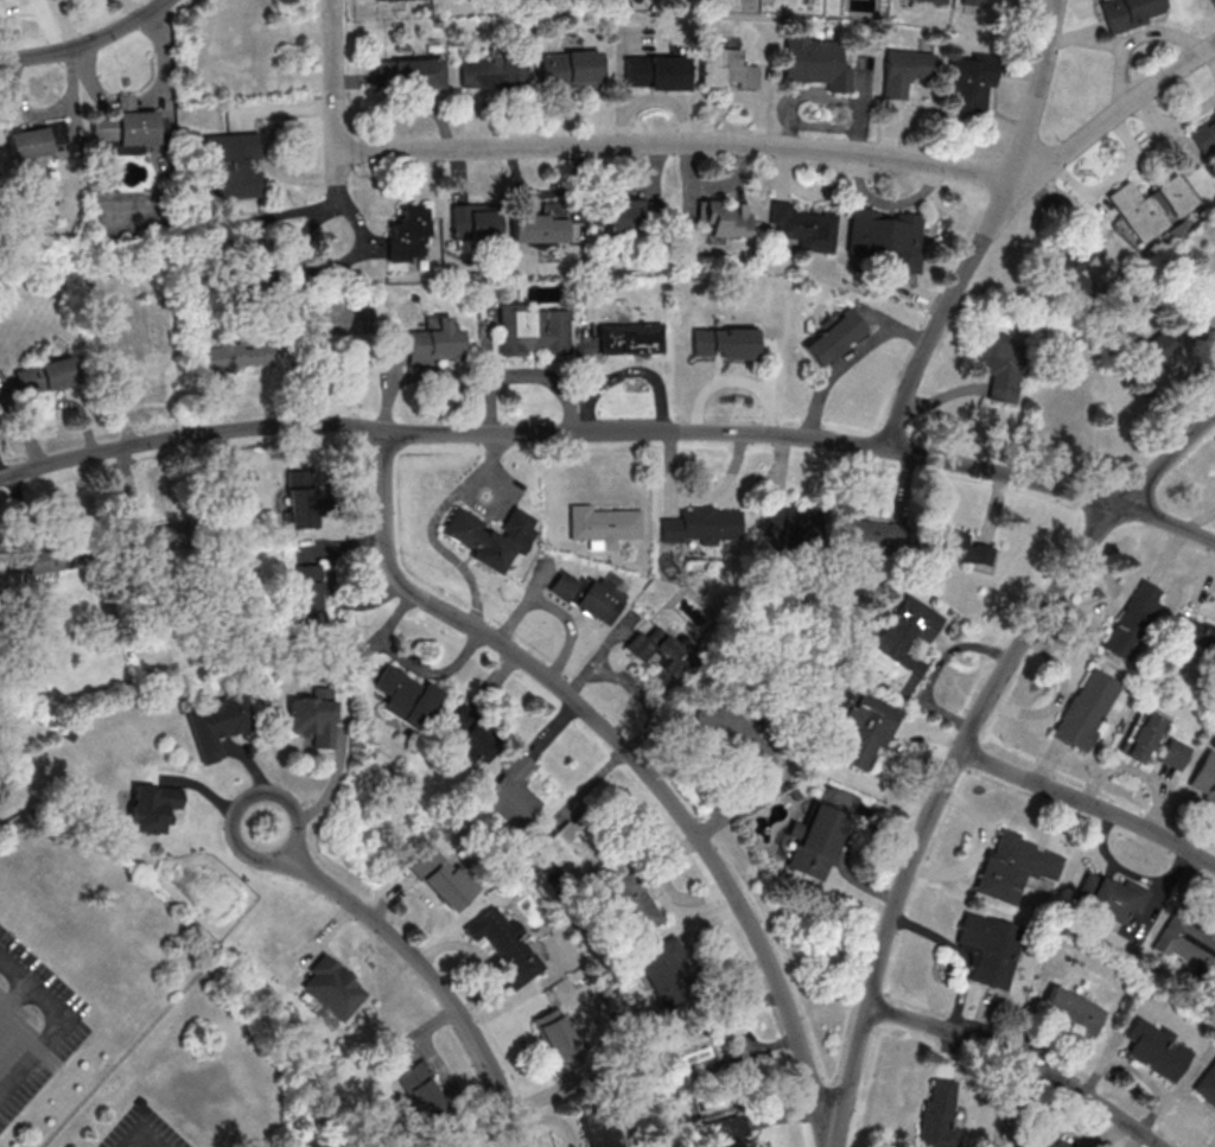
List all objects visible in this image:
building: (400, 0)
building: (1011, 0)
building: (935, 1)
building: (972, 2)
building: (1130, 12)
road: (88, 43)
building: (816, 63)
building: (726, 68)
building: (571, 69)
building: (905, 71)
building: (656, 72)
building: (411, 74)
building: (492, 74)
road: (333, 76)
building: (971, 83)
building: (129, 128)
building: (1204, 135)
building: (37, 140)
road: (796, 148)
building: (235, 165)
road: (339, 168)
building: (1152, 206)
building: (632, 215)
building: (726, 218)
building: (478, 222)
building: (540, 227)
building: (804, 228)
road: (987, 230)
building: (408, 234)
building: (889, 237)
building: (1075, 266)
building: (1202, 314)
building: (533, 330)
building: (834, 337)
building: (630, 339)
building: (435, 342)
building: (724, 343)
building: (1156, 350)
building: (234, 355)
building: (999, 365)
building: (44, 377)
road: (756, 437)
road: (190, 439)
road: (1168, 459)
building: (304, 498)
road: (1198, 521)
building: (790, 524)
road: (1168, 524)
building: (603, 525)
building: (704, 525)
building: (869, 534)
building: (164, 539)
building: (481, 539)
building: (959, 547)
building: (47, 560)
building: (0, 595)
building: (586, 595)
building: (305, 597)
building: (1132, 620)
building: (1194, 632)
building: (897, 646)
building: (663, 650)
building: (407, 697)
building: (1083, 712)
building: (313, 716)
building: (217, 724)
building: (865, 732)
building: (734, 737)
building: (1144, 737)
building: (466, 738)
road: (966, 745)
building: (1173, 753)
road: (629, 754)
building: (1204, 776)
road: (333, 780)
building: (511, 795)
road: (286, 798)
building: (152, 807)
road: (1090, 807)
building: (816, 841)
building: (571, 852)
building: (1011, 868)
building: (441, 879)
building: (1109, 898)
building: (634, 904)
building: (1187, 944)
building: (507, 947)
building: (988, 949)
building: (664, 973)
road: (430, 979)
building: (332, 987)
building: (1071, 1009)
road: (62, 1027)
building: (558, 1040)
building: (1156, 1051)
building: (694, 1054)
road: (1022, 1062)
road: (850, 1079)
building: (1207, 1084)
building: (422, 1090)
building: (937, 1117)
building: (603, 1129)
building: (725, 1130)
building: (1033, 1141)
road: (146, 1145)

